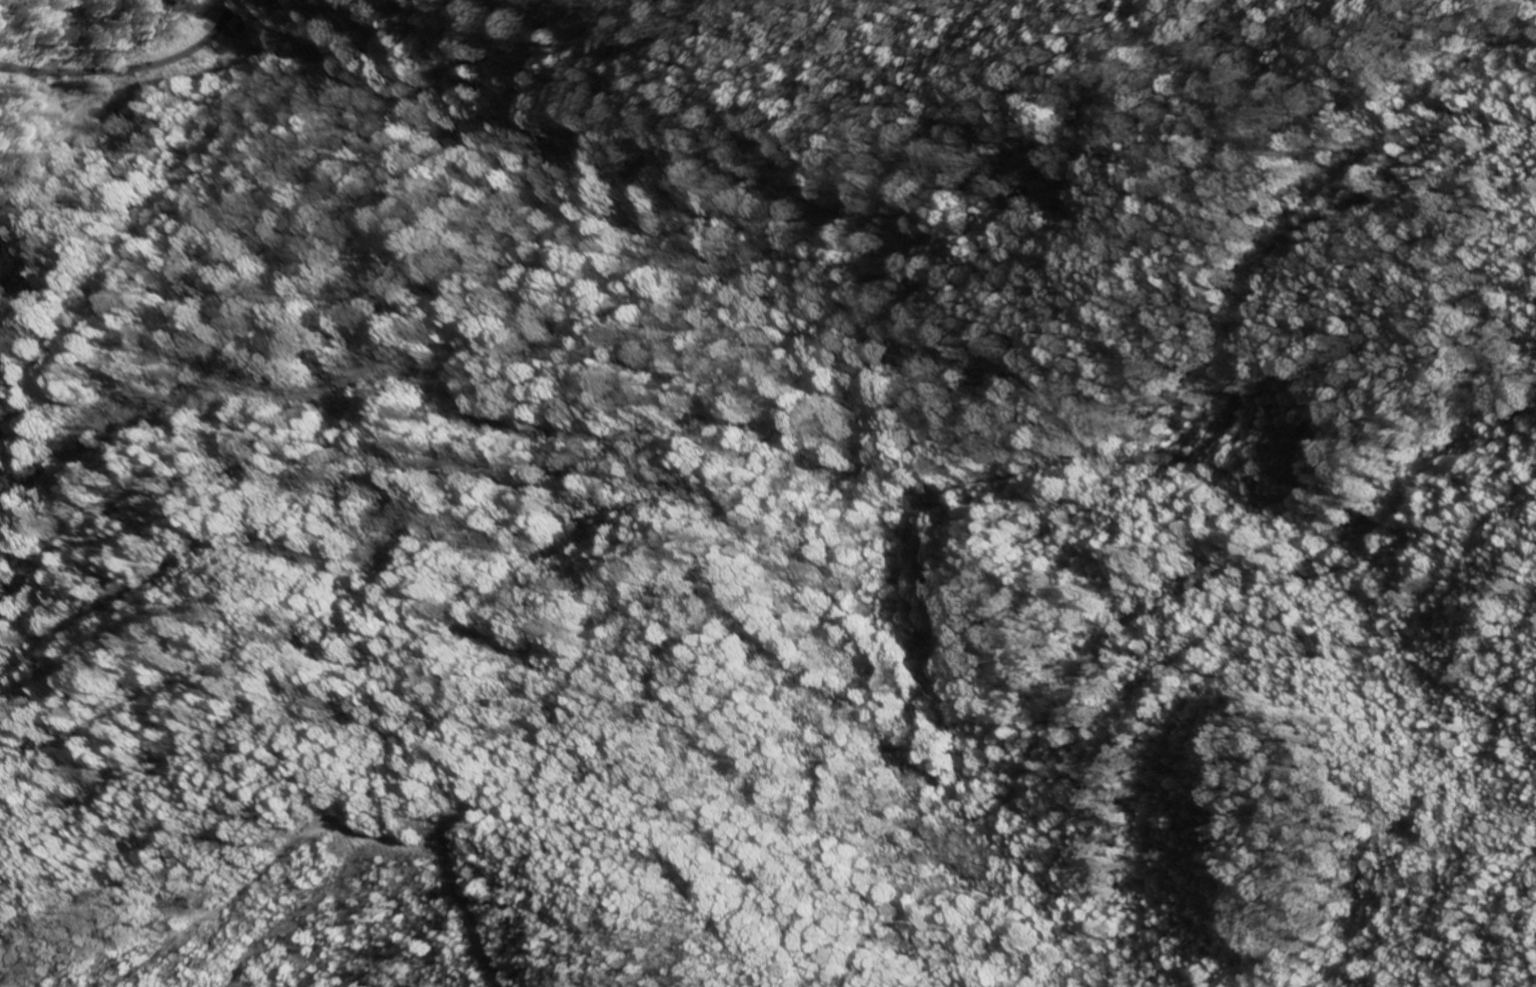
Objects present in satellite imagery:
building: (251, 22)
road: (282, 893)

